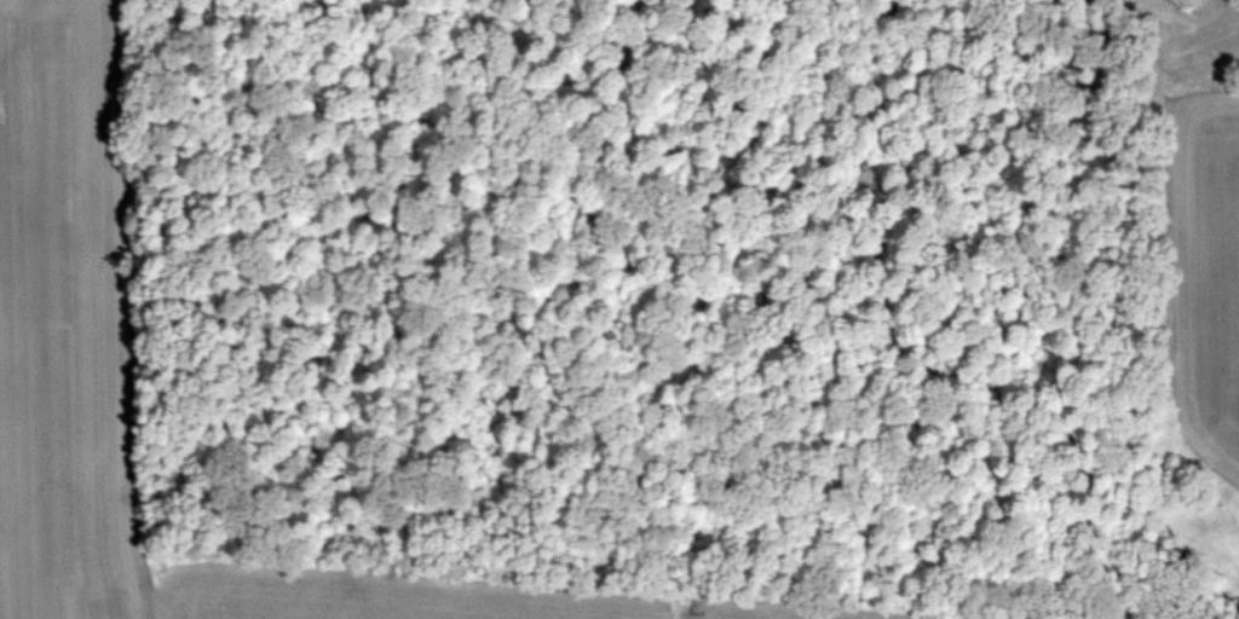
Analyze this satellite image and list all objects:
building: (1192, 2)

